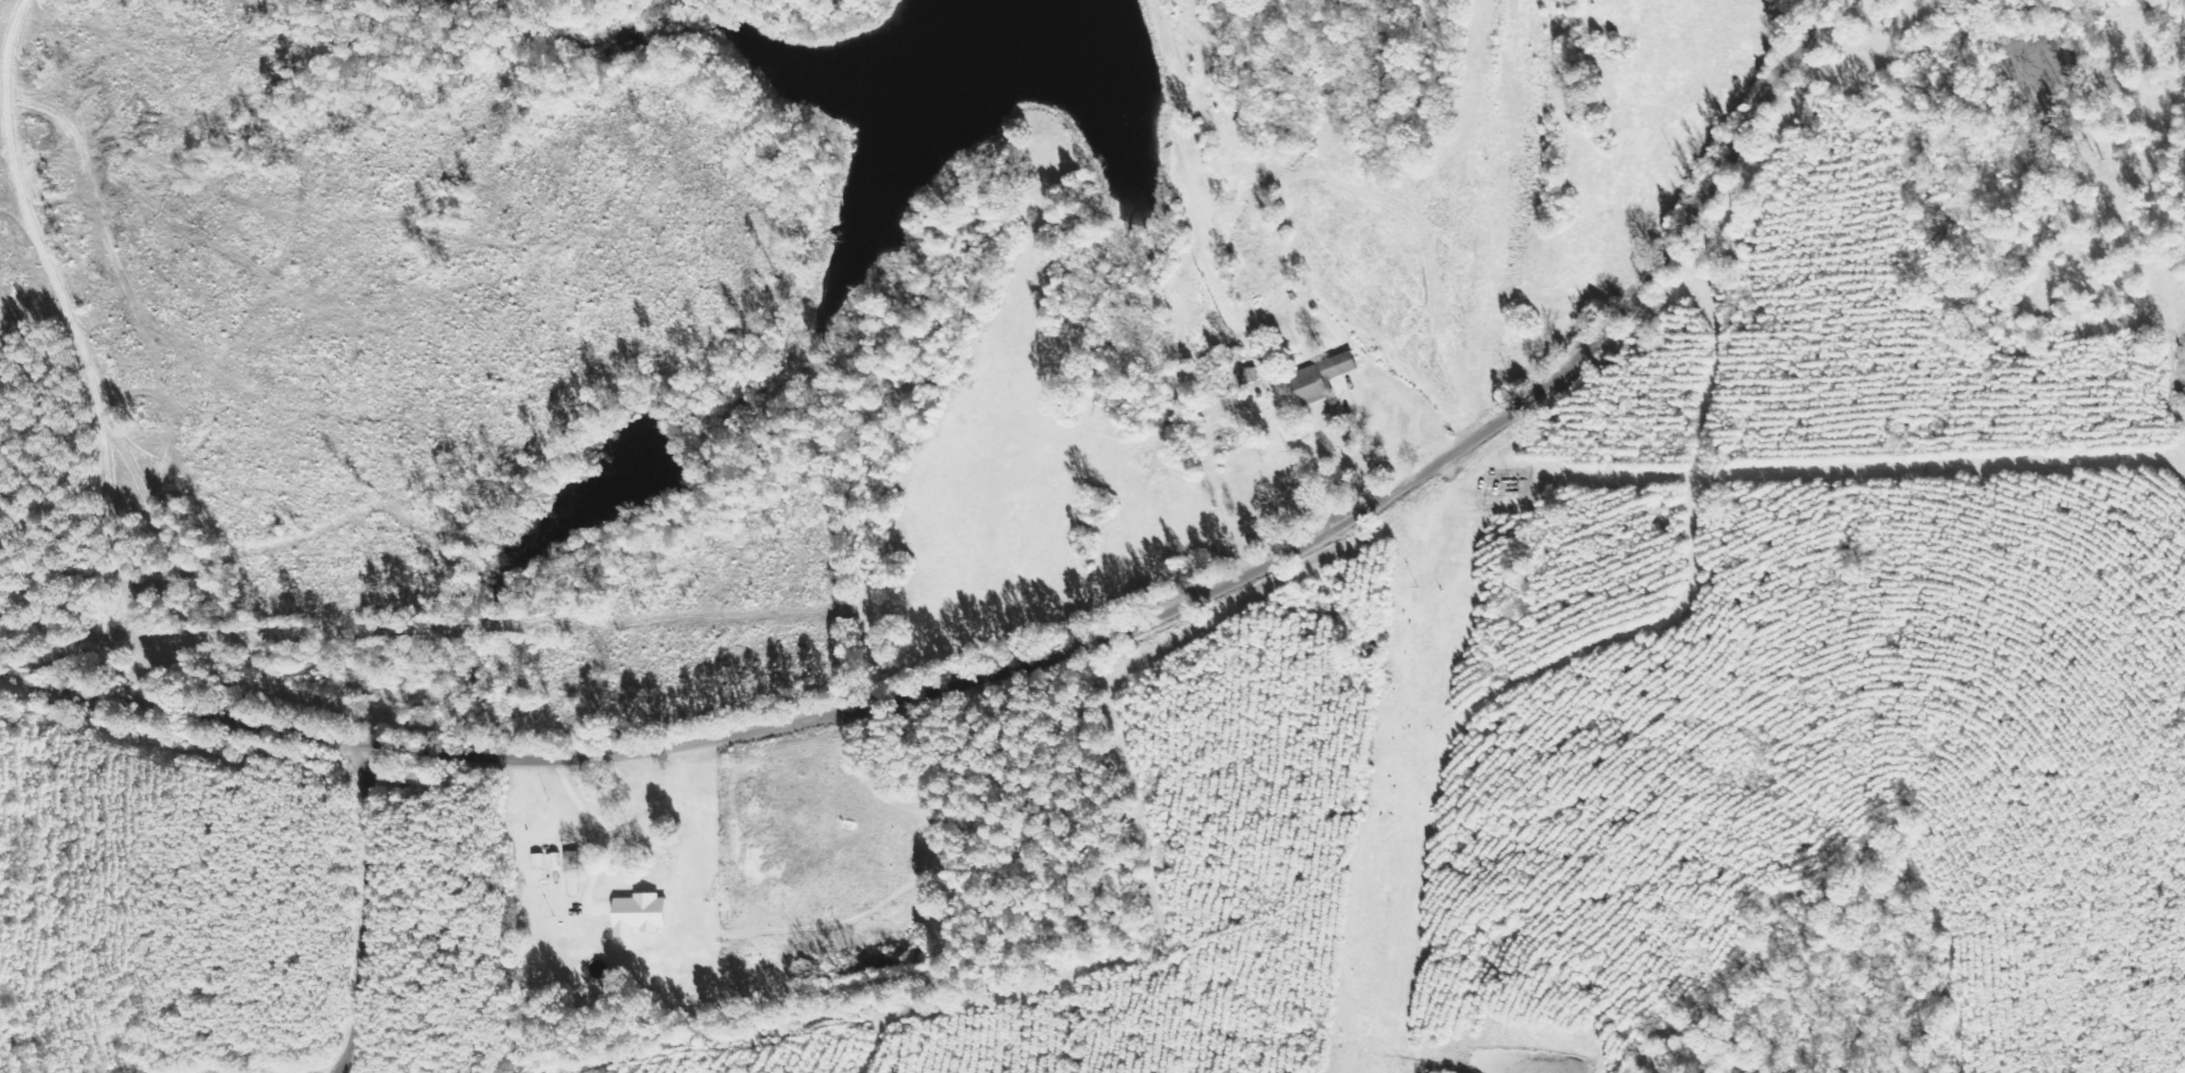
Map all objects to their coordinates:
building: (1322, 375)
road: (1346, 456)
road: (1040, 659)
building: (651, 843)
building: (538, 860)
building: (640, 914)

